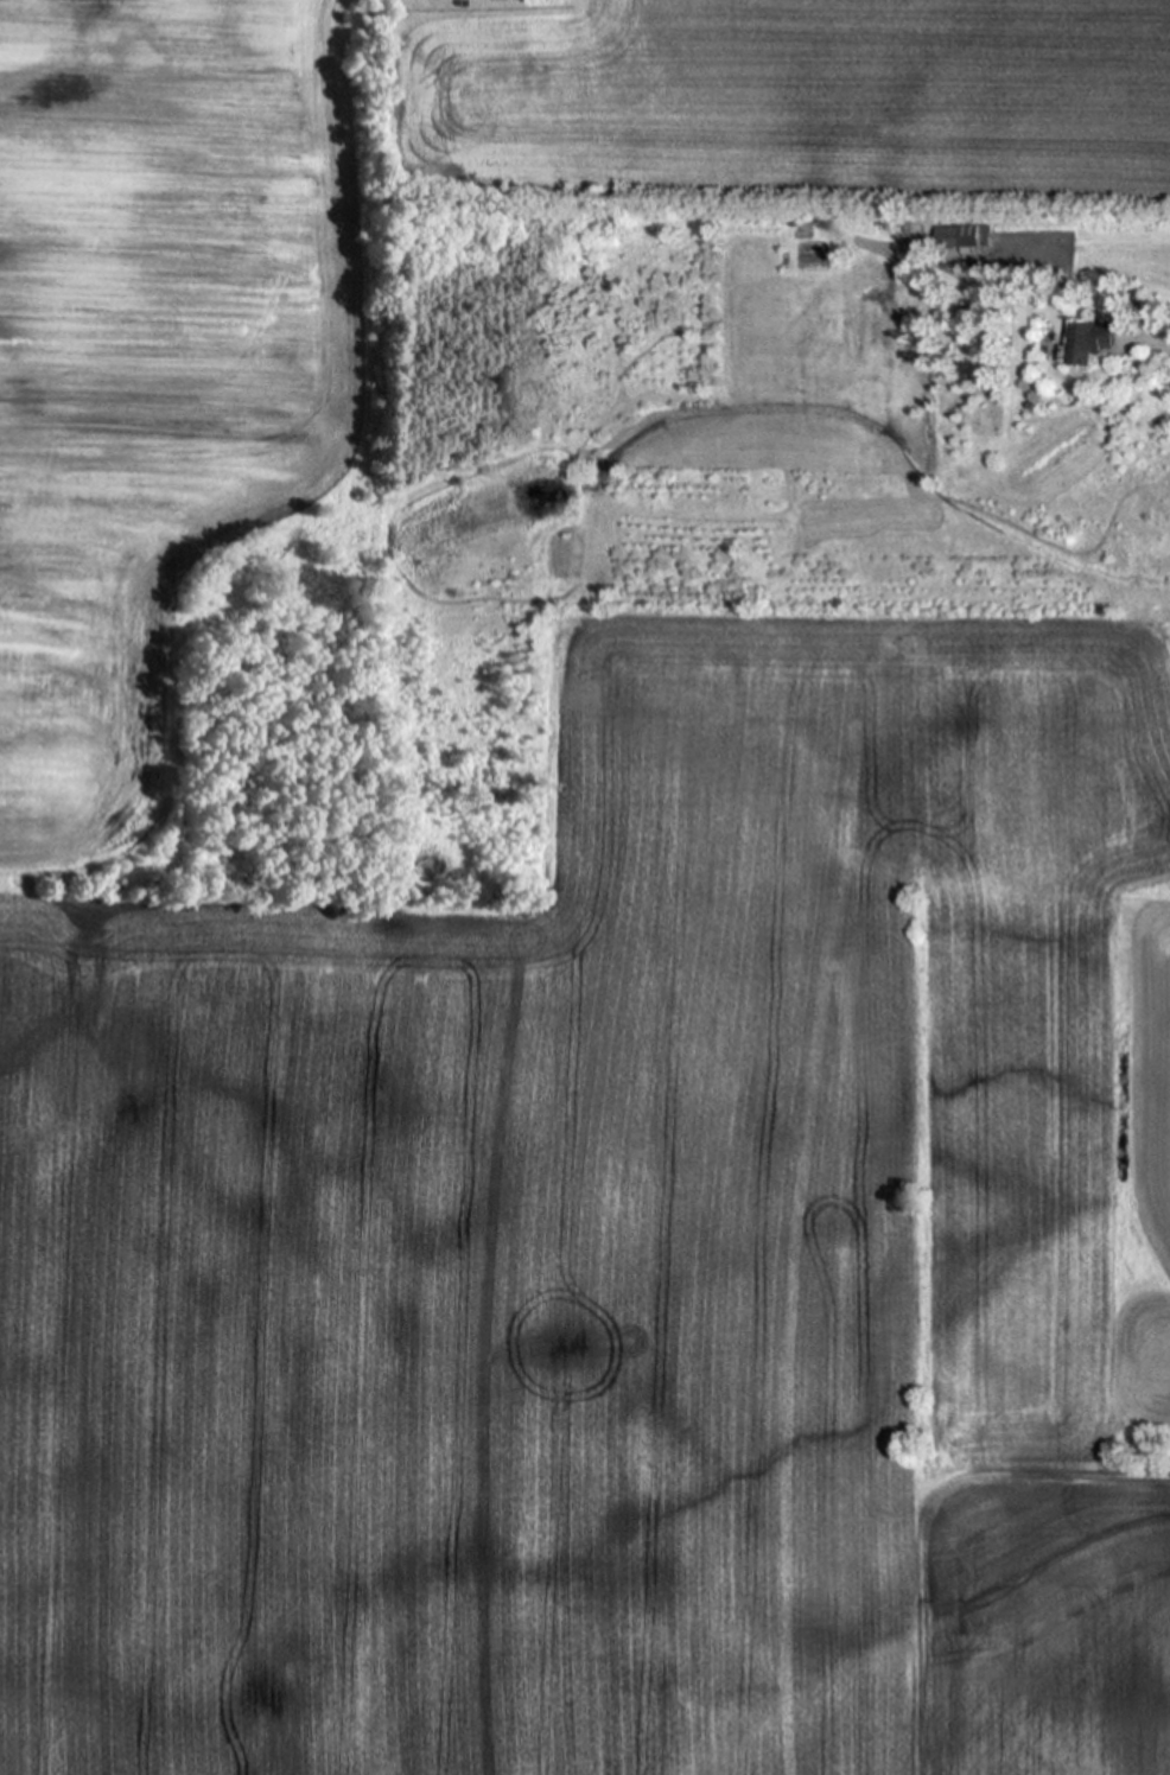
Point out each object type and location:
building: (924, 223)
building: (959, 237)
road: (1159, 331)
building: (1092, 343)

